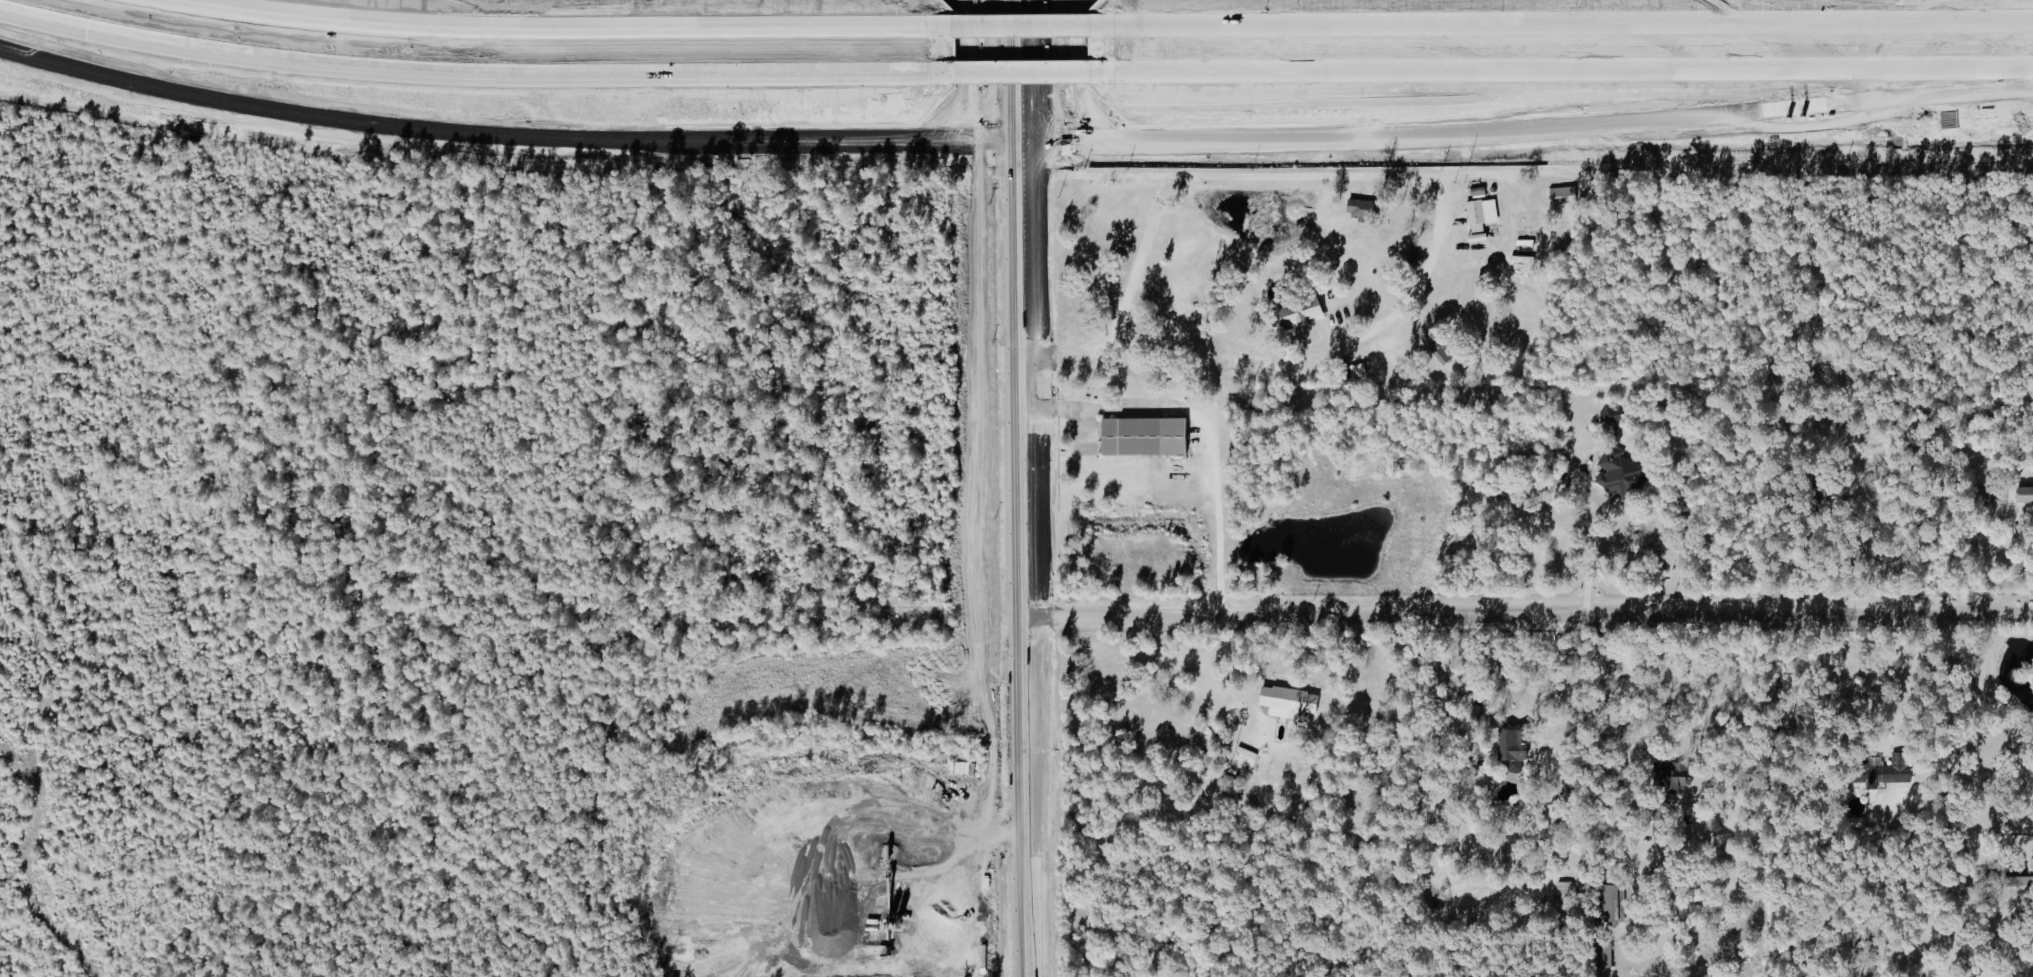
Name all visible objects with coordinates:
road: (1973, 4)
road: (1558, 23)
road: (1015, 27)
road: (560, 29)
road: (1558, 69)
road: (1017, 72)
road: (472, 73)
road: (1072, 84)
road: (968, 95)
road: (1013, 142)
traffic signals: (1022, 142)
road: (1408, 175)
building: (1563, 196)
building: (1360, 210)
building: (1477, 213)
road: (1415, 276)
building: (1300, 313)
building: (1440, 347)
road: (1200, 435)
building: (1147, 437)
building: (1613, 473)
road: (1028, 488)
building: (2022, 494)
building: (1995, 497)
road: (1586, 532)
road: (2022, 574)
road: (1532, 616)
road: (1903, 676)
road: (1981, 692)
road: (1612, 700)
building: (1290, 702)
building: (1518, 743)
building: (1245, 758)
building: (1874, 773)
building: (1672, 776)
building: (979, 862)
building: (2013, 876)
building: (1614, 903)
building: (1605, 956)

